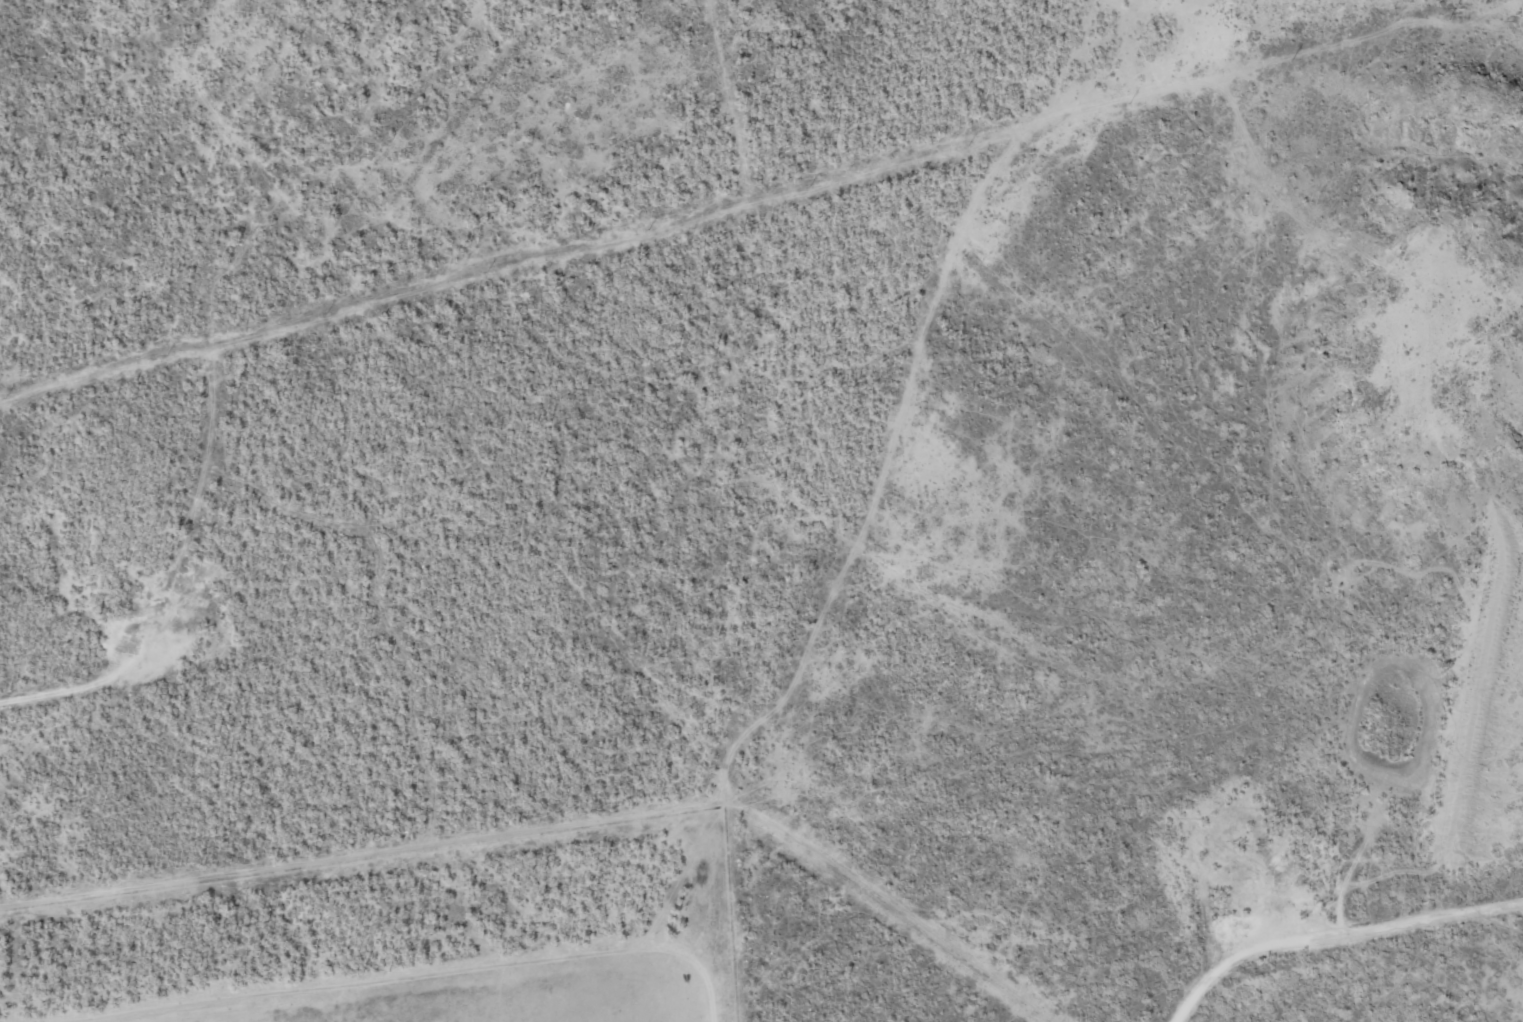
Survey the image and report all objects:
road: (1056, 62)
road: (529, 290)
road: (944, 368)
road: (1336, 938)

